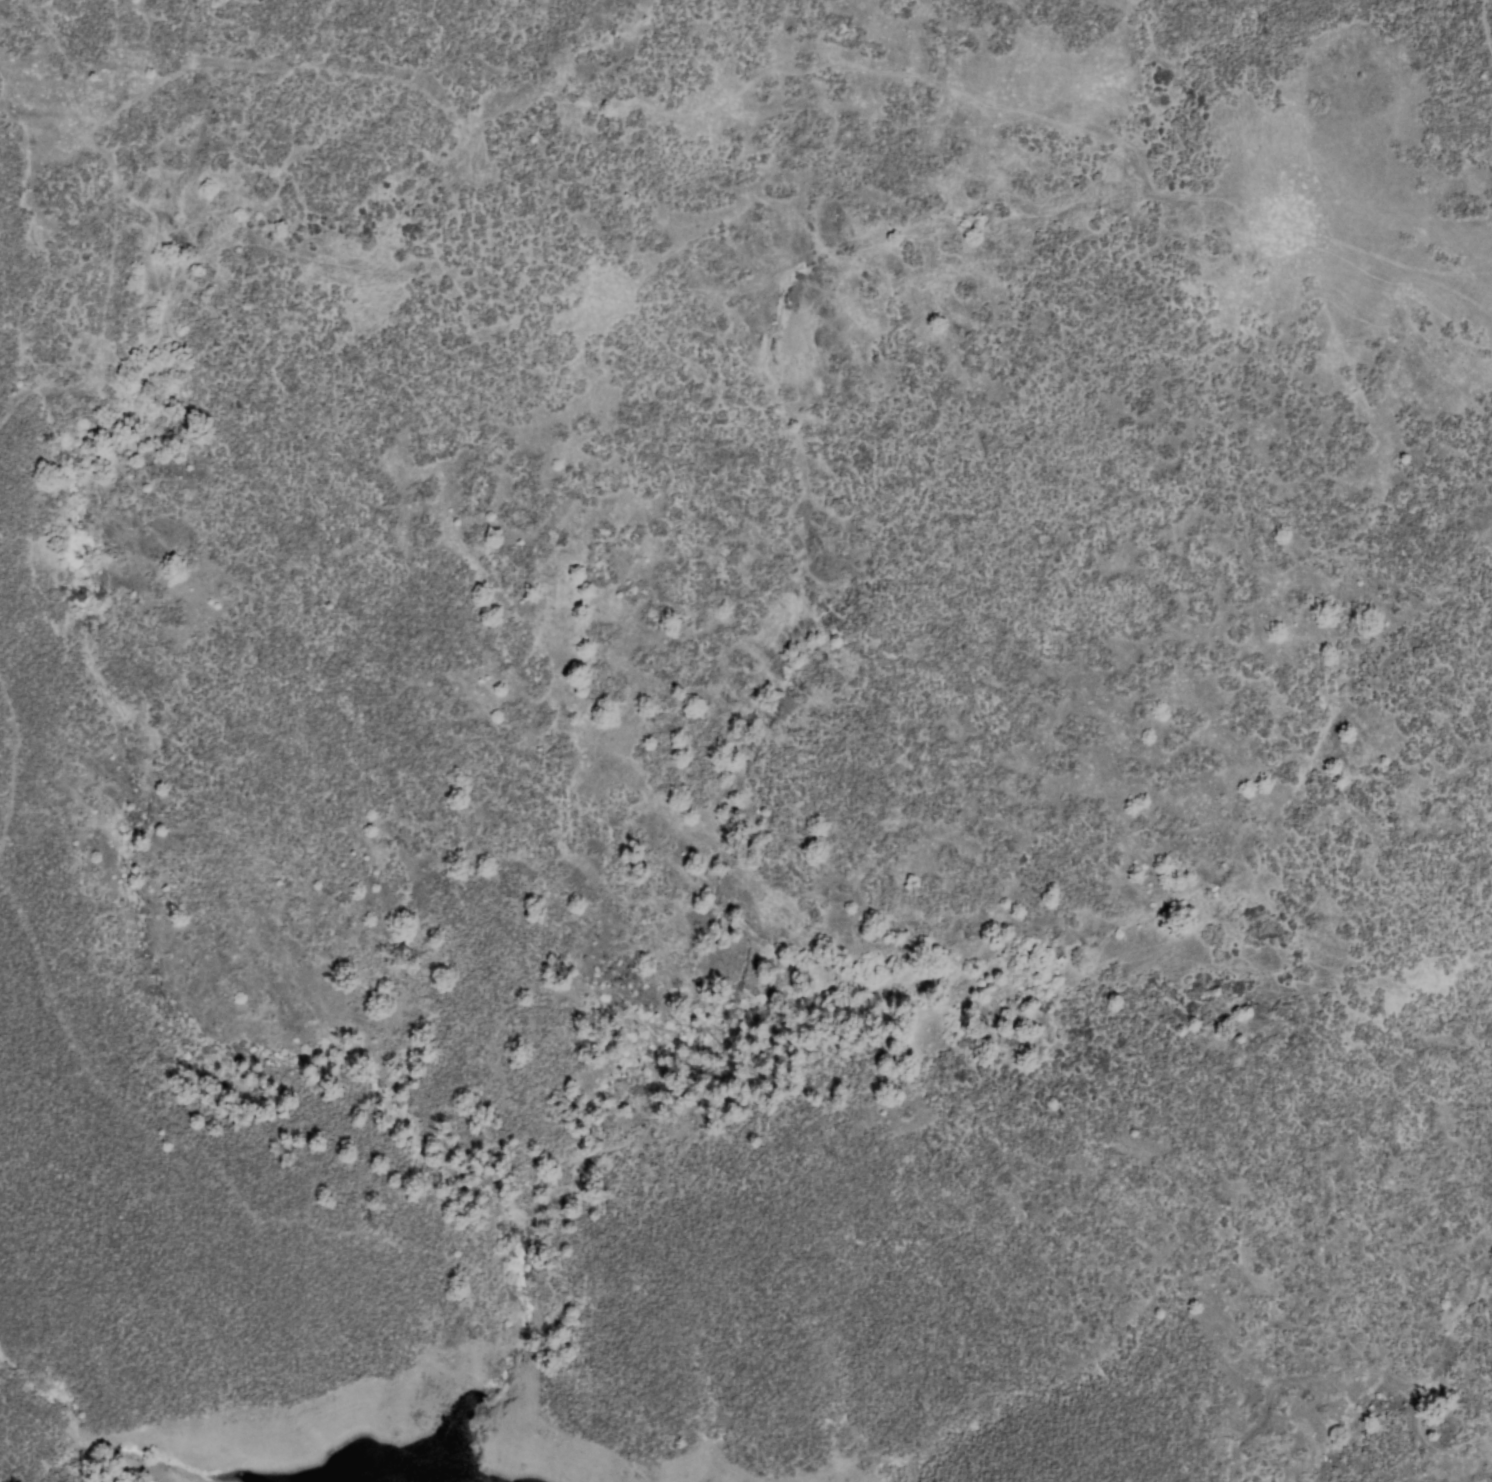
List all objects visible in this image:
road: (1356, 1368)

